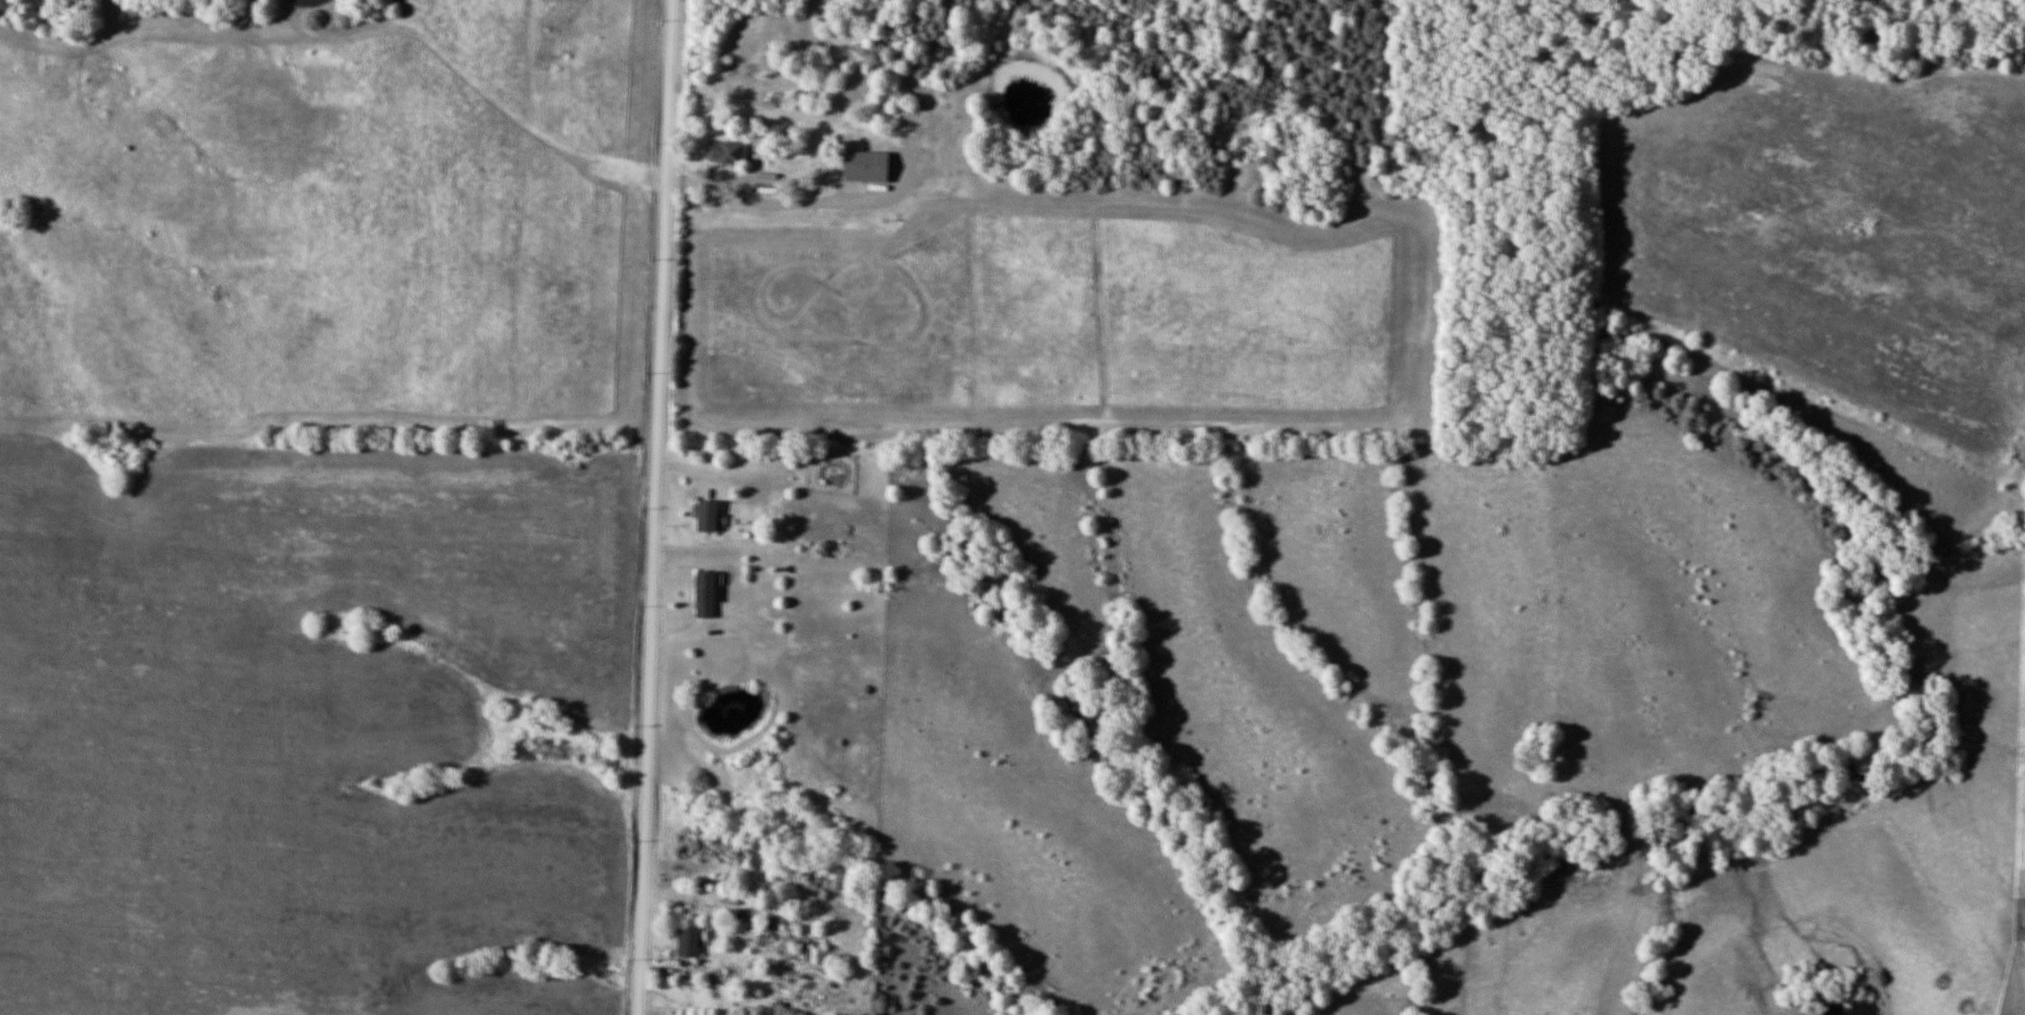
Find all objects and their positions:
building: (728, 153)
building: (868, 167)
road: (655, 507)
building: (709, 515)
building: (707, 594)
building: (800, 941)
building: (690, 942)
building: (817, 957)

